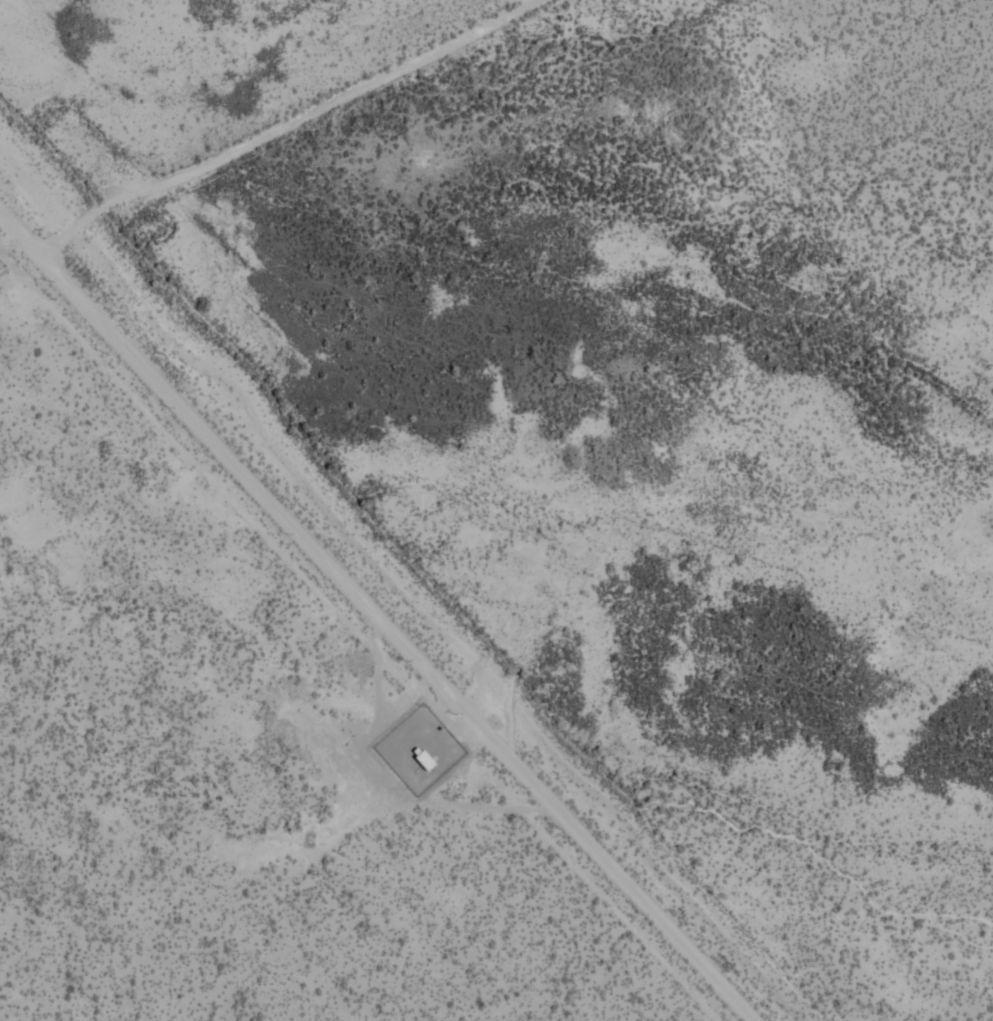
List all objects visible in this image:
road: (377, 602)
building: (101, 732)
building: (432, 830)
building: (482, 866)
building: (113, 873)
building: (50, 931)
building: (276, 989)
building: (161, 996)
building: (12, 998)

